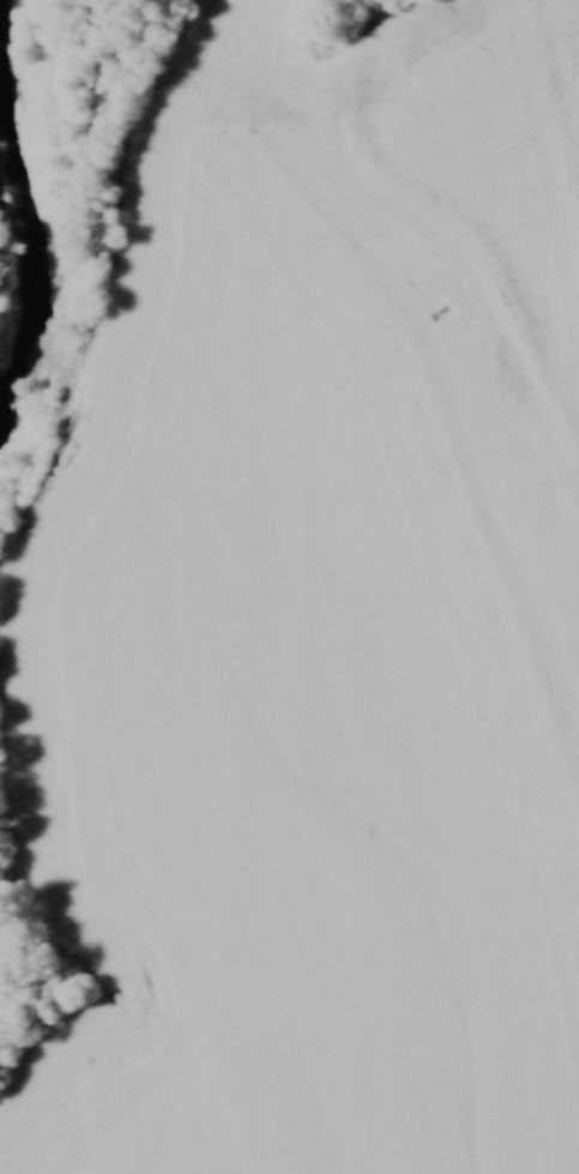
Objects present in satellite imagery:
river: (18, 258)

